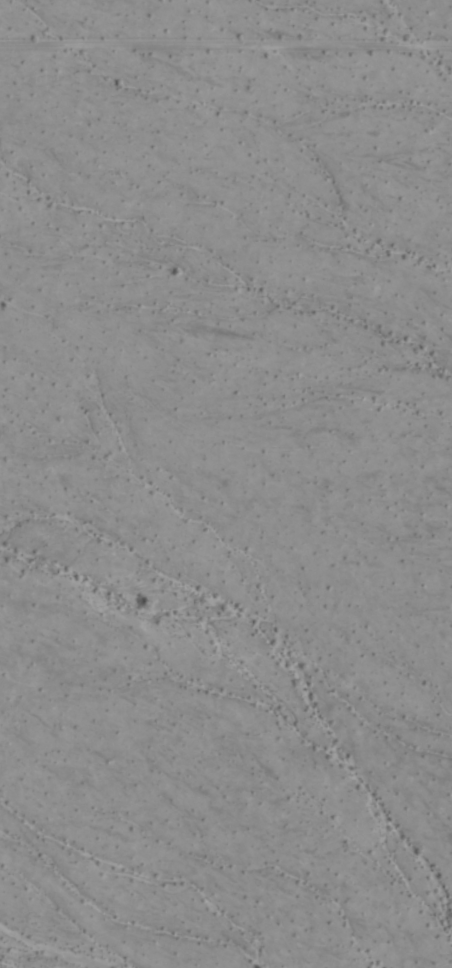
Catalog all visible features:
road: (226, 36)

